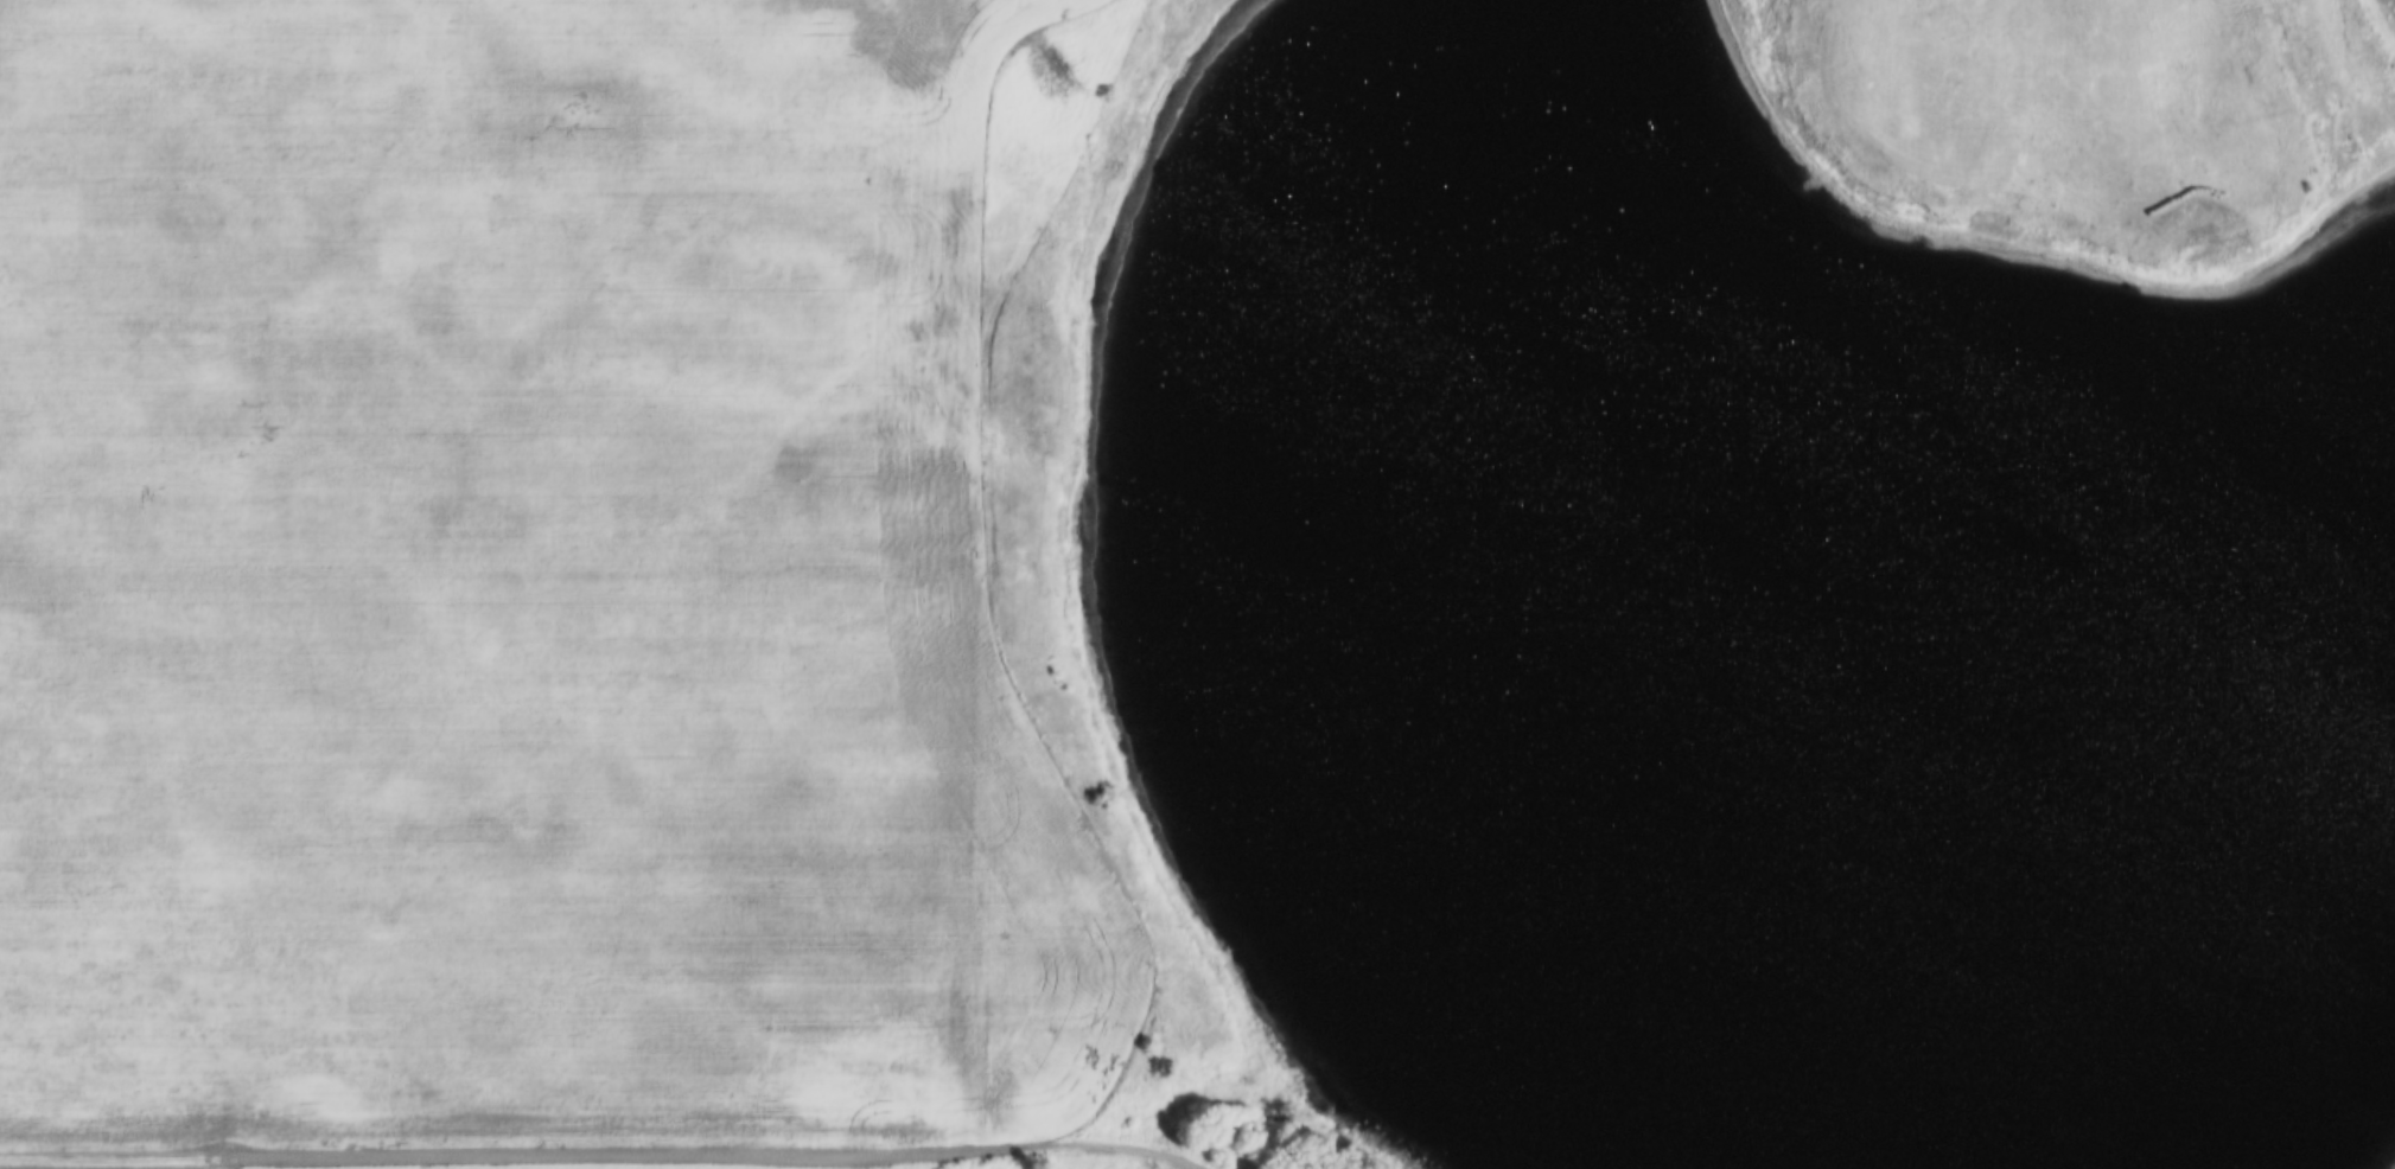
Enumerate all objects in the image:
road: (609, 1152)

